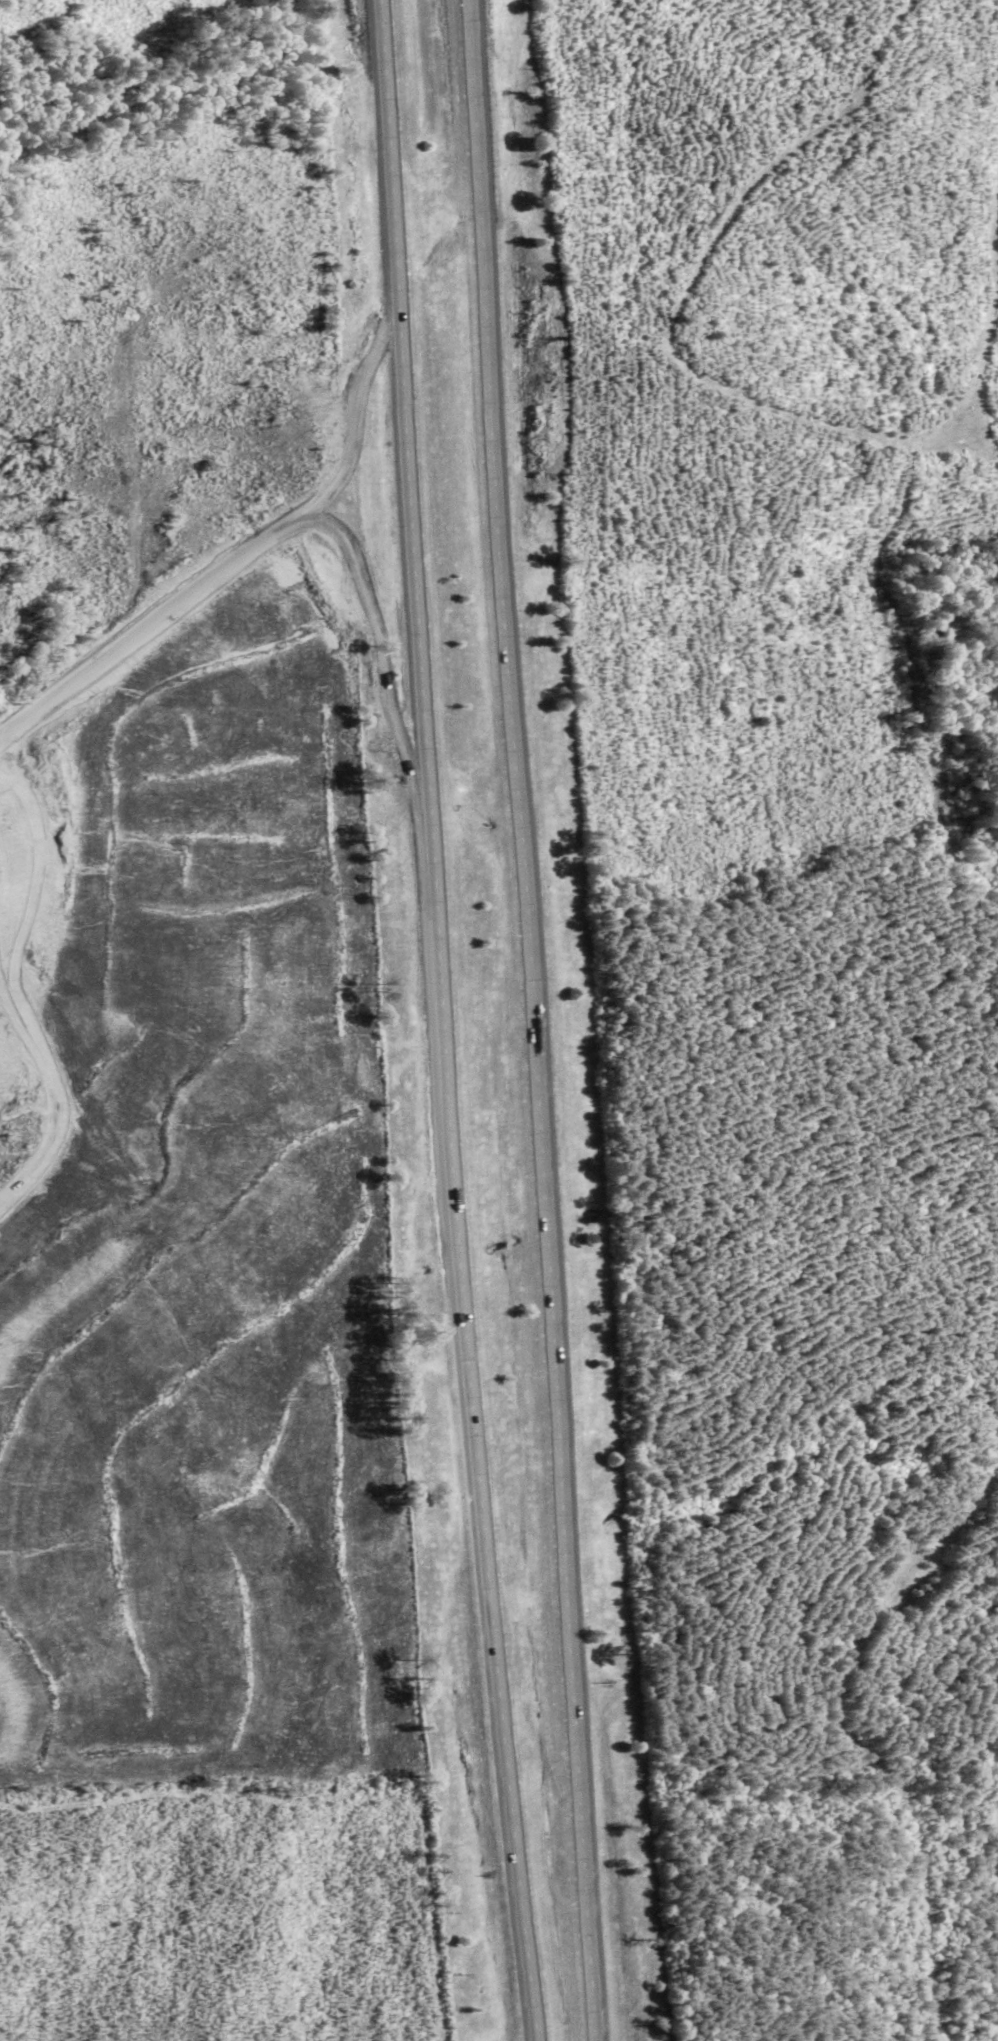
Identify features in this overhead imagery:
road: (535, 1020)
road: (447, 1021)
road: (60, 1089)

